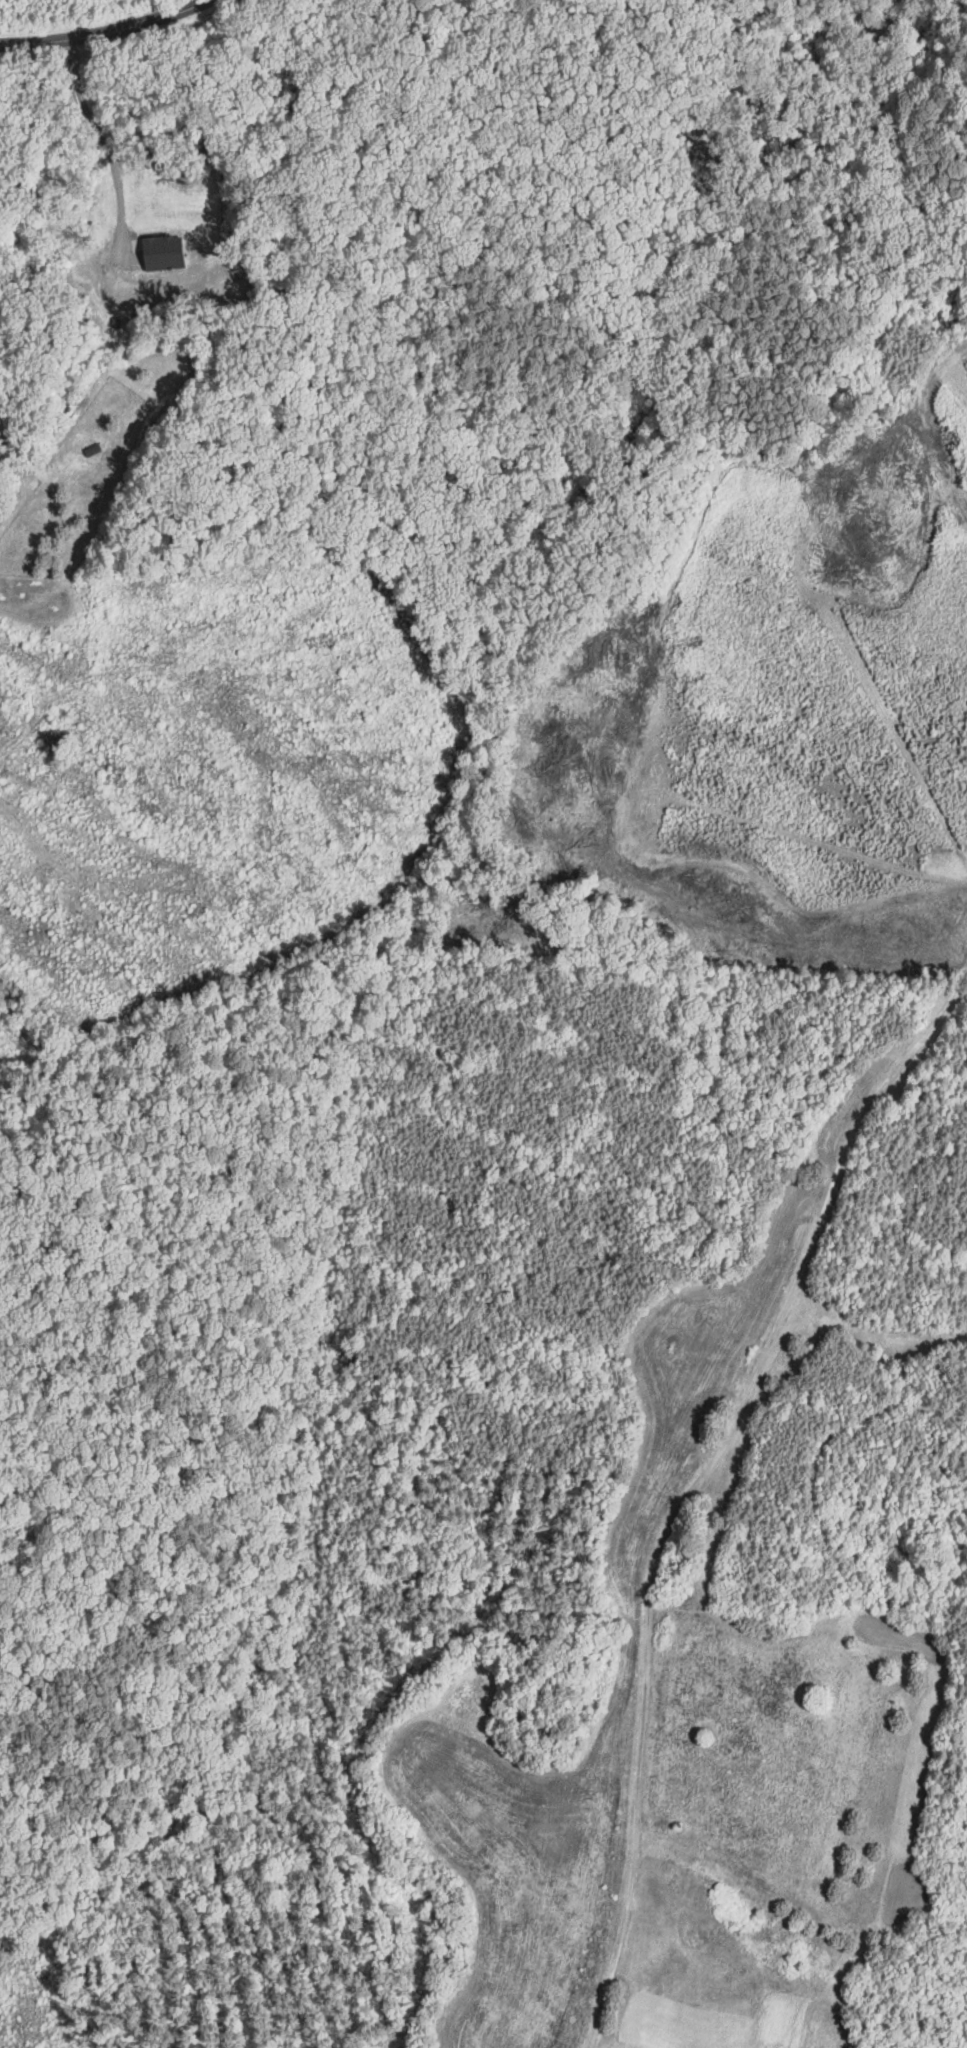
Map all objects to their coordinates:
road: (104, 31)
road: (100, 134)
road: (694, 1481)

